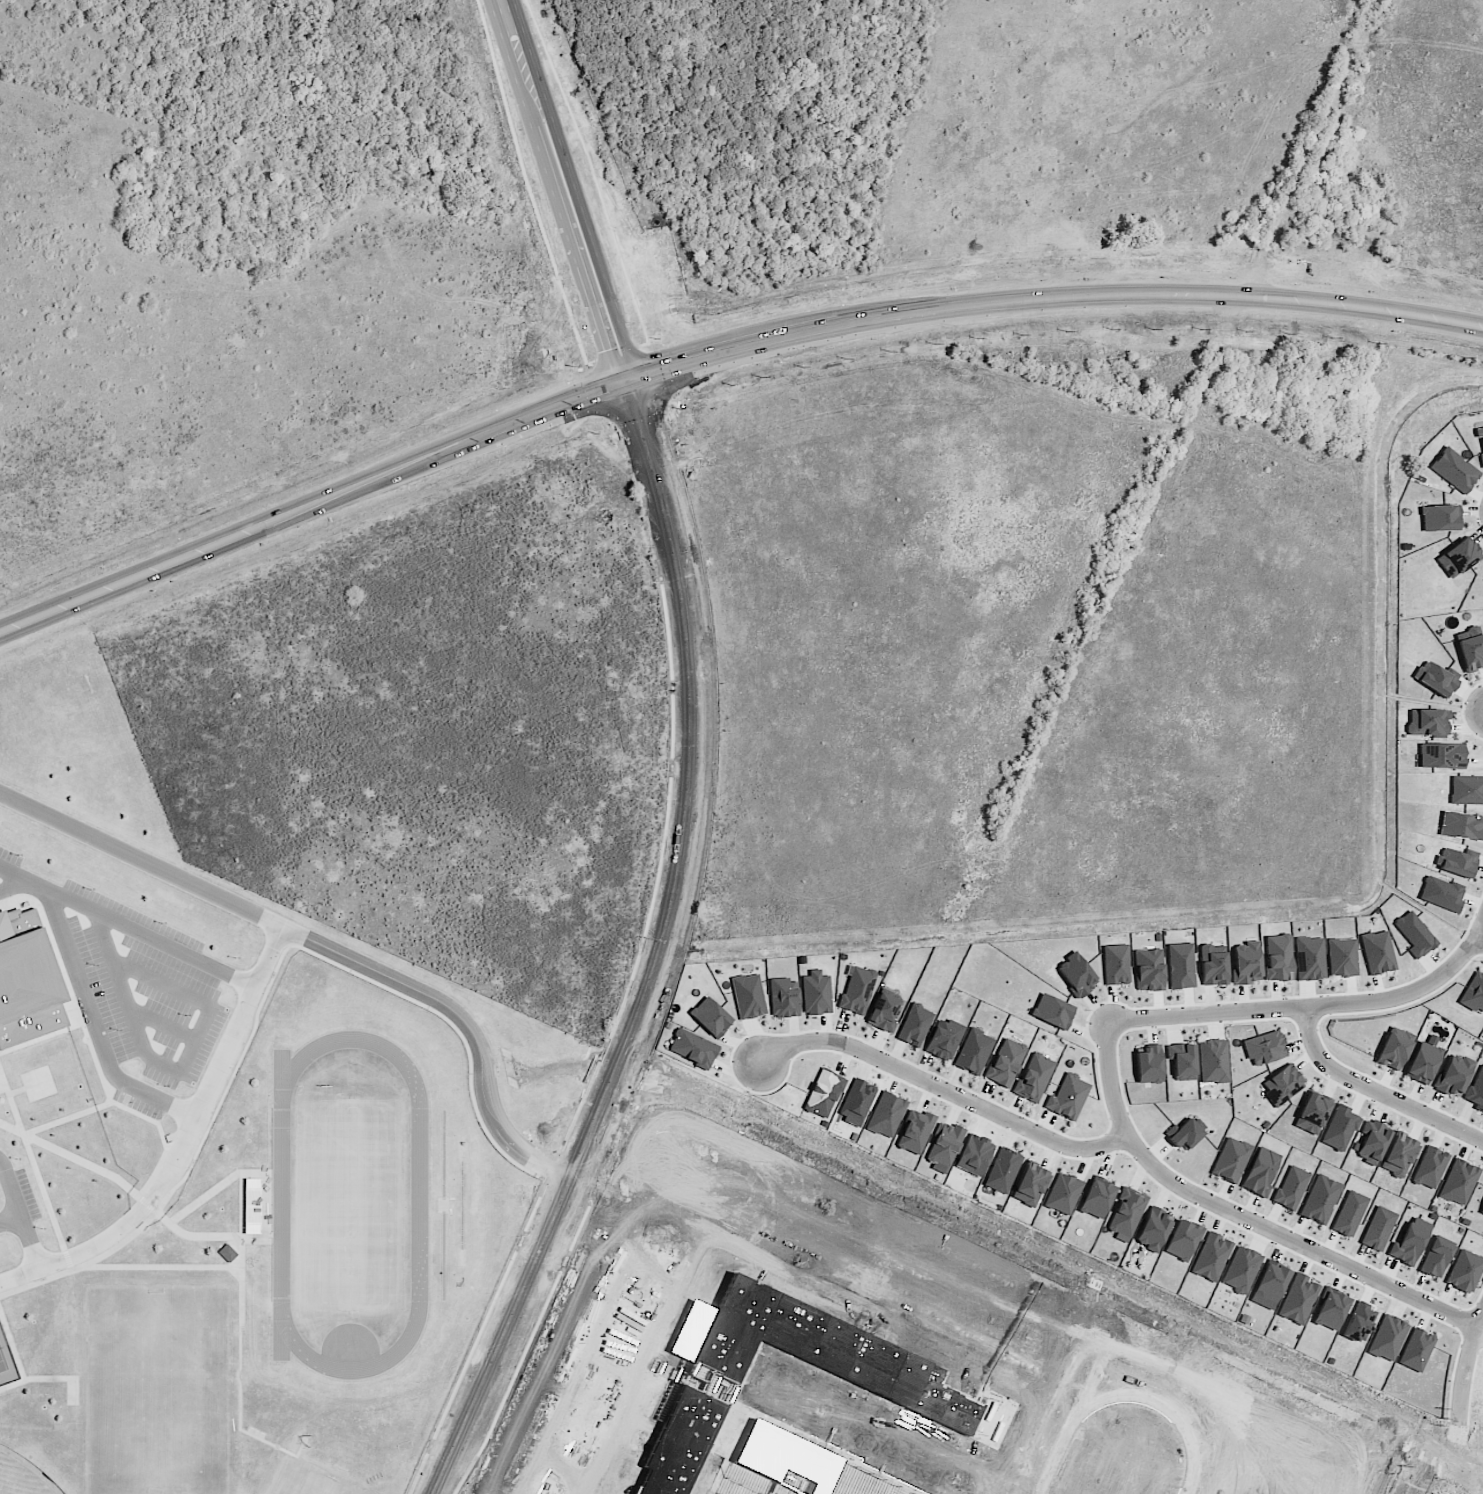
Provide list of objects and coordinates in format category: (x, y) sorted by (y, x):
road: (1314, 147)
road: (586, 189)
road: (562, 191)
road: (1083, 296)
traffic signals: (630, 381)
road: (657, 398)
building: (1479, 434)
building: (1481, 459)
building: (1454, 470)
road: (343, 494)
building: (1438, 518)
building: (1457, 558)
crop: (1039, 634)
building: (1470, 648)
crop: (449, 676)
building: (1436, 679)
building: (1427, 722)
building: (1441, 756)
building: (1466, 791)
building: (1461, 826)
building: (1456, 862)
road: (14, 880)
road: (14, 891)
building: (1442, 894)
building: (3, 918)
building: (1414, 935)
road: (1479, 939)
building: (1377, 952)
road: (325, 953)
road: (172, 955)
road: (664, 955)
building: (1342, 957)
building: (1278, 958)
building: (1309, 959)
building: (1246, 963)
building: (1116, 965)
building: (1213, 965)
building: (1181, 966)
building: (1148, 970)
building: (1076, 974)
building: (857, 990)
building: (816, 994)
building: (1474, 994)
building: (748, 996)
building: (34, 998)
building: (783, 998)
road: (1313, 1004)
building: (883, 1011)
building: (1052, 1012)
building: (710, 1017)
building: (914, 1025)
building: (944, 1040)
building: (1265, 1048)
building: (692, 1049)
building: (973, 1052)
building: (1213, 1061)
building: (1182, 1062)
building: (1005, 1063)
building: (1422, 1063)
building: (1148, 1064)
road: (179, 1069)
building: (1454, 1075)
building: (1033, 1078)
road: (942, 1085)
building: (1282, 1085)
building: (0, 1087)
road: (1375, 1089)
building: (1476, 1090)
road: (131, 1092)
building: (823, 1094)
building: (1067, 1097)
building: (857, 1101)
building: (1312, 1114)
building: (886, 1115)
building: (1340, 1129)
building: (914, 1132)
building: (1187, 1133)
building: (1372, 1142)
building: (945, 1145)
building: (1399, 1155)
building: (974, 1156)
building: (1231, 1160)
building: (1430, 1167)
building: (1002, 1171)
building: (1260, 1172)
building: (1458, 1183)
building: (1031, 1185)
building: (1291, 1188)
building: (1063, 1194)
building: (1096, 1198)
building: (1320, 1200)
building: (1481, 1210)
building: (1126, 1214)
building: (1349, 1214)
road: (1241, 1215)
building: (1378, 1229)
building: (1153, 1230)
road: (124, 1235)
building: (1182, 1241)
building: (1409, 1242)
road: (26, 1243)
building: (227, 1253)
building: (1436, 1257)
building: (1211, 1258)
building: (1241, 1270)
building: (1465, 1271)
building: (1271, 1283)
building: (1298, 1299)
building: (1331, 1310)
road: (1480, 1329)
building: (1387, 1338)
building: (1416, 1350)
road: (1464, 1367)
park: (22, 1475)

